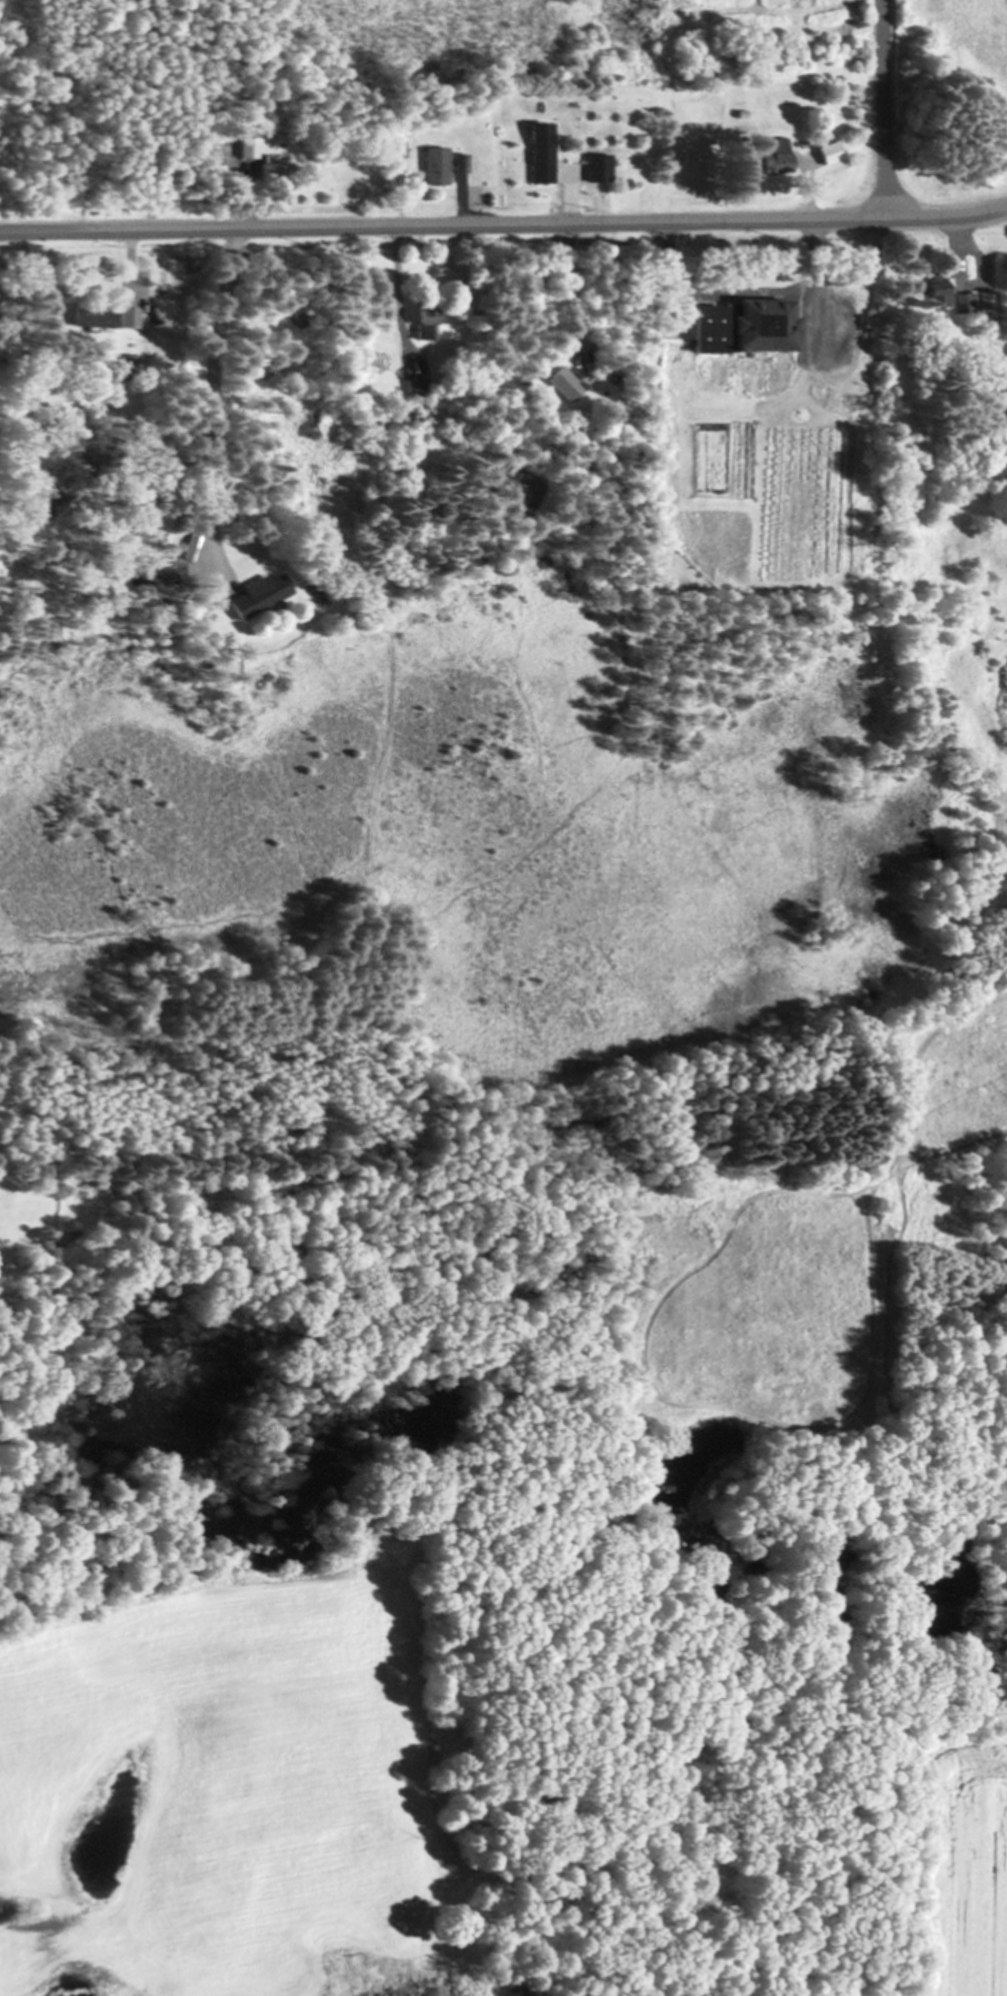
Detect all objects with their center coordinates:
road: (884, 110)
building: (247, 148)
building: (537, 153)
building: (767, 156)
building: (431, 167)
building: (266, 171)
road: (504, 223)
building: (944, 295)
building: (91, 317)
building: (127, 318)
building: (421, 321)
building: (737, 326)
building: (562, 384)
building: (255, 595)

